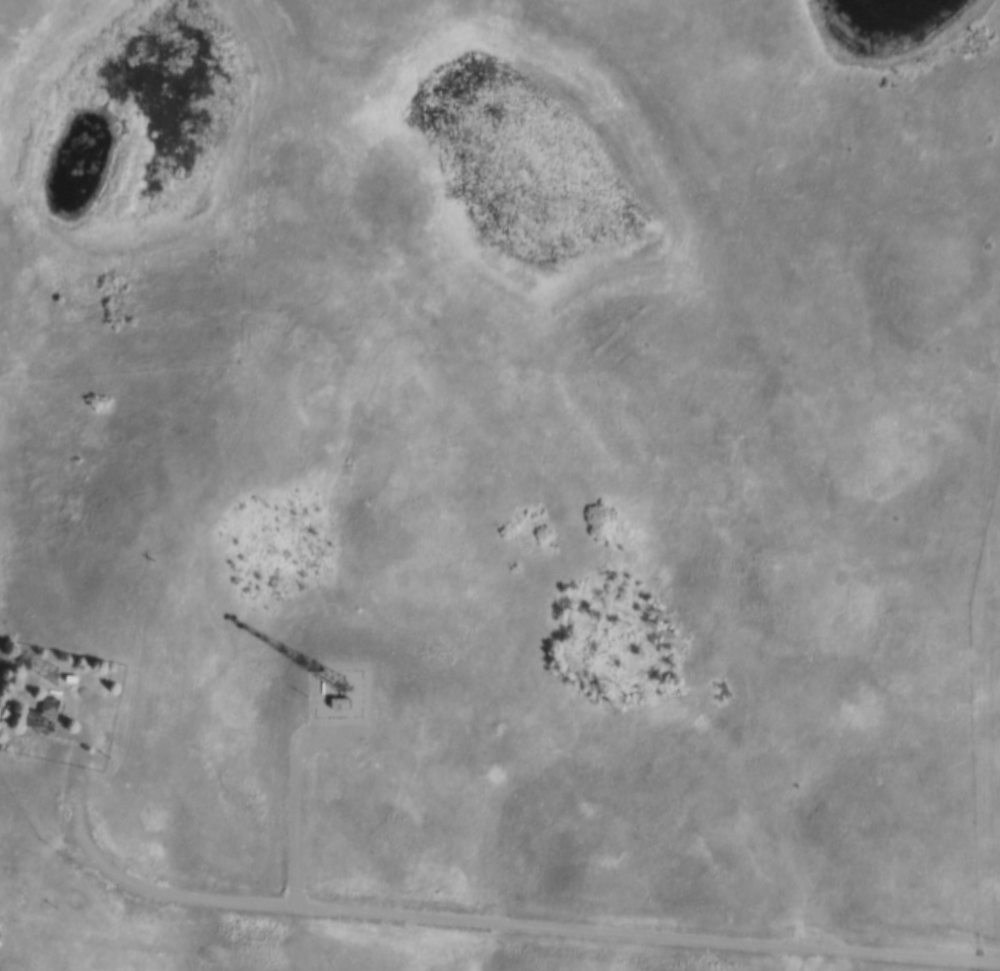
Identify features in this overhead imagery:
building: (76, 680)
storage tank: (325, 687)
storage tank: (57, 692)
building: (347, 705)
building: (46, 717)
road: (532, 922)
building: (2, 944)

